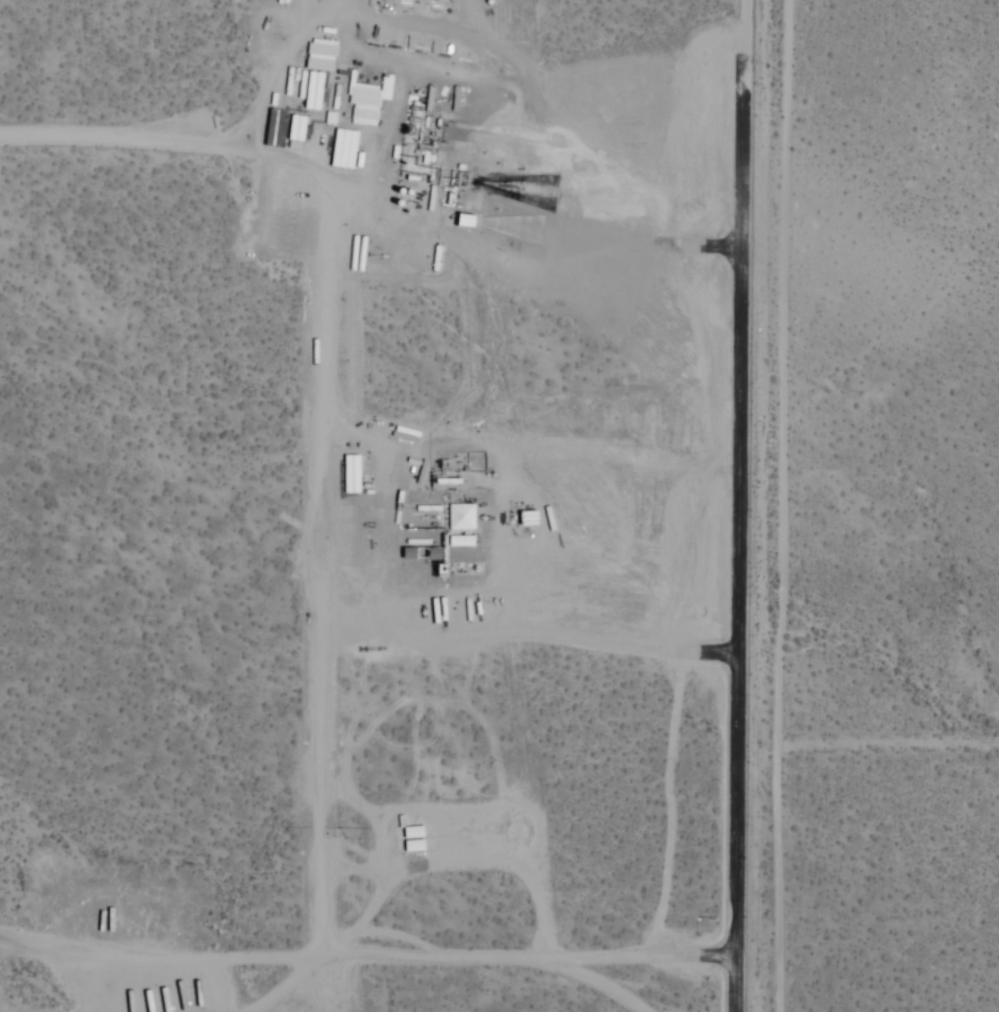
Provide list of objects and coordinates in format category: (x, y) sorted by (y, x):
road: (117, 134)
airport: (378, 505)
road: (784, 506)
road: (317, 519)
road: (477, 961)
road: (601, 984)

